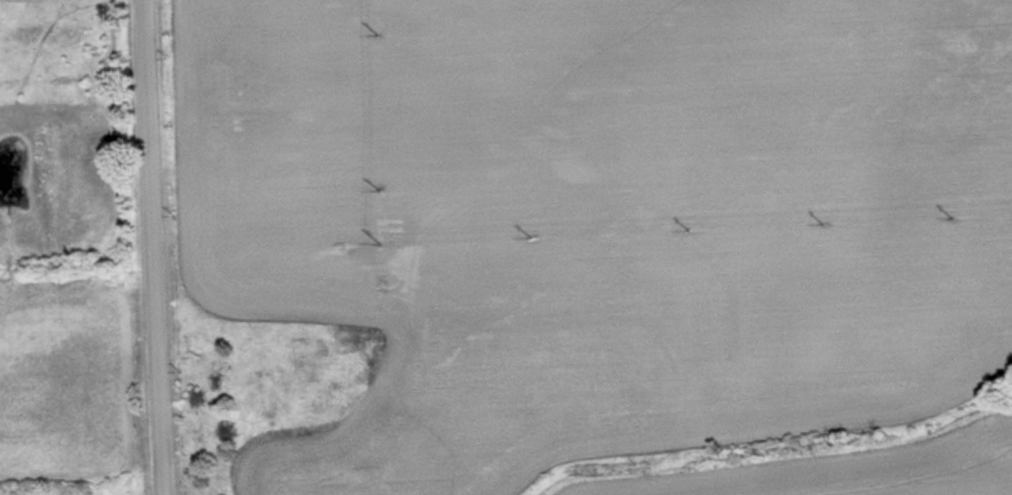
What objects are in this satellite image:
road: (151, 247)

